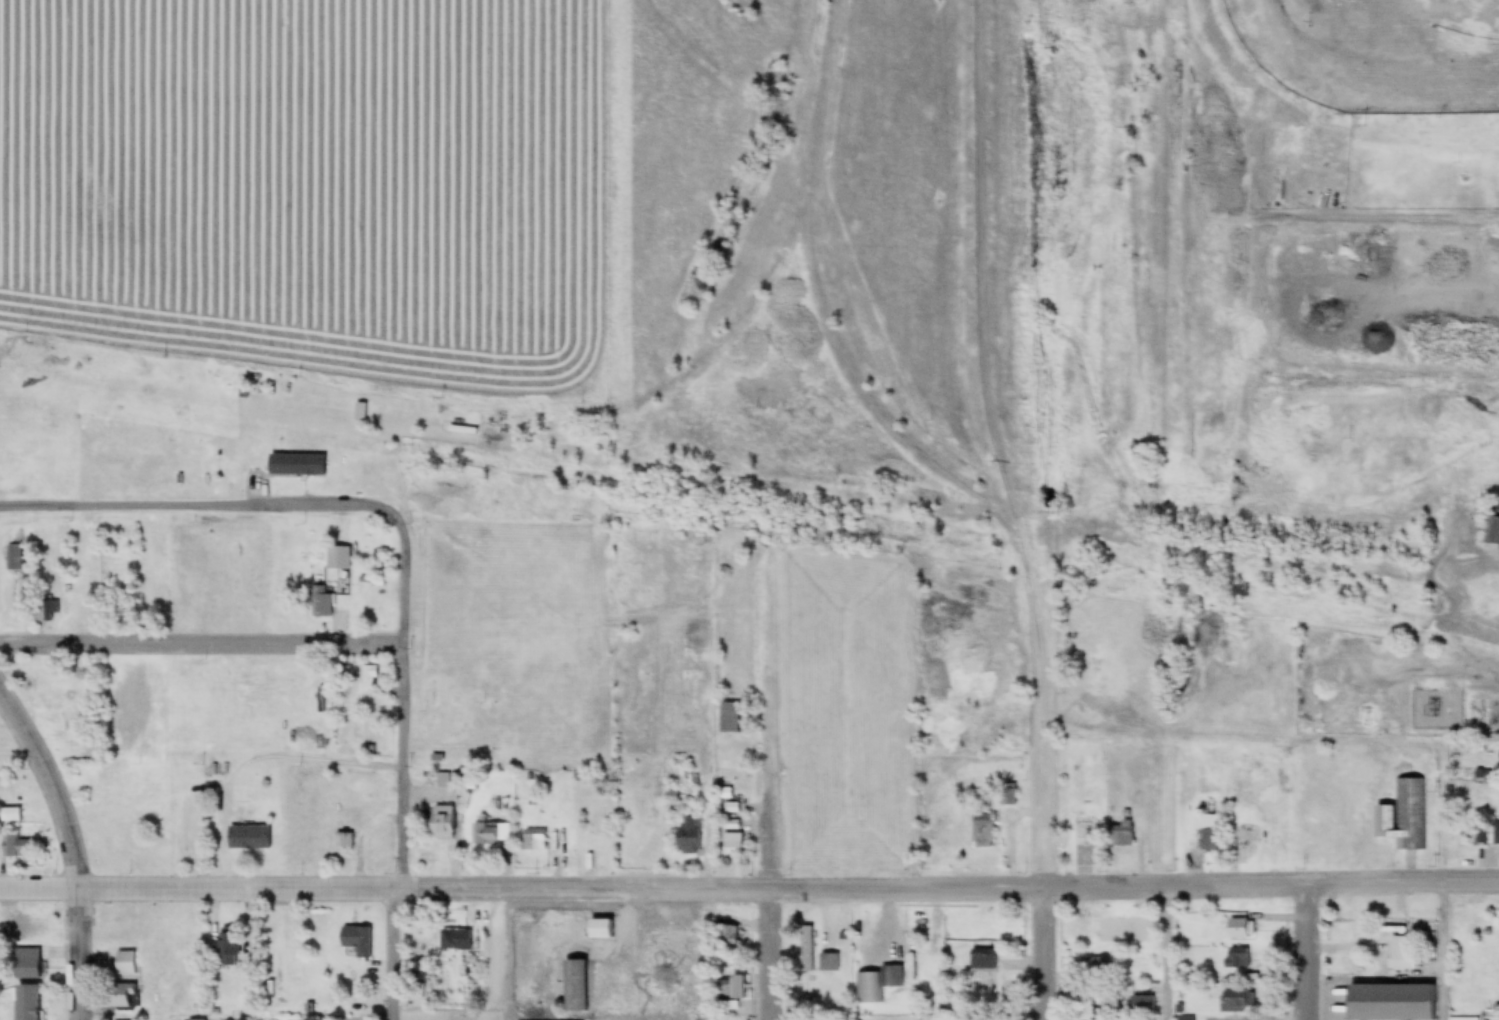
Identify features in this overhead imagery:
building: (296, 464)
road: (200, 512)
building: (1491, 531)
building: (338, 557)
building: (14, 558)
building: (320, 601)
road: (204, 643)
building: (369, 679)
building: (43, 684)
building: (320, 699)
building: (729, 717)
building: (1486, 717)
road: (1038, 742)
road: (260, 767)
road: (405, 767)
building: (447, 779)
building: (1010, 795)
building: (1404, 816)
building: (442, 823)
building: (983, 831)
building: (1083, 831)
building: (1208, 832)
building: (491, 833)
building: (1121, 834)
building: (1477, 835)
building: (688, 836)
building: (248, 838)
building: (534, 840)
building: (732, 840)
building: (1495, 840)
building: (596, 843)
road: (766, 846)
road: (73, 847)
building: (19, 848)
road: (749, 886)
building: (1496, 923)
building: (1239, 929)
building: (599, 930)
building: (22, 931)
building: (866, 934)
building: (730, 936)
building: (456, 940)
building: (357, 942)
building: (230, 948)
building: (806, 950)
road: (1306, 951)
road: (768, 953)
road: (1038, 953)
building: (982, 959)
building: (1234, 960)
building: (828, 964)
building: (26, 965)
building: (1094, 968)
building: (876, 984)
building: (576, 986)
building: (121, 996)
building: (1099, 1000)
building: (1232, 1000)
building: (1390, 1002)
building: (26, 1003)
building: (1141, 1005)

